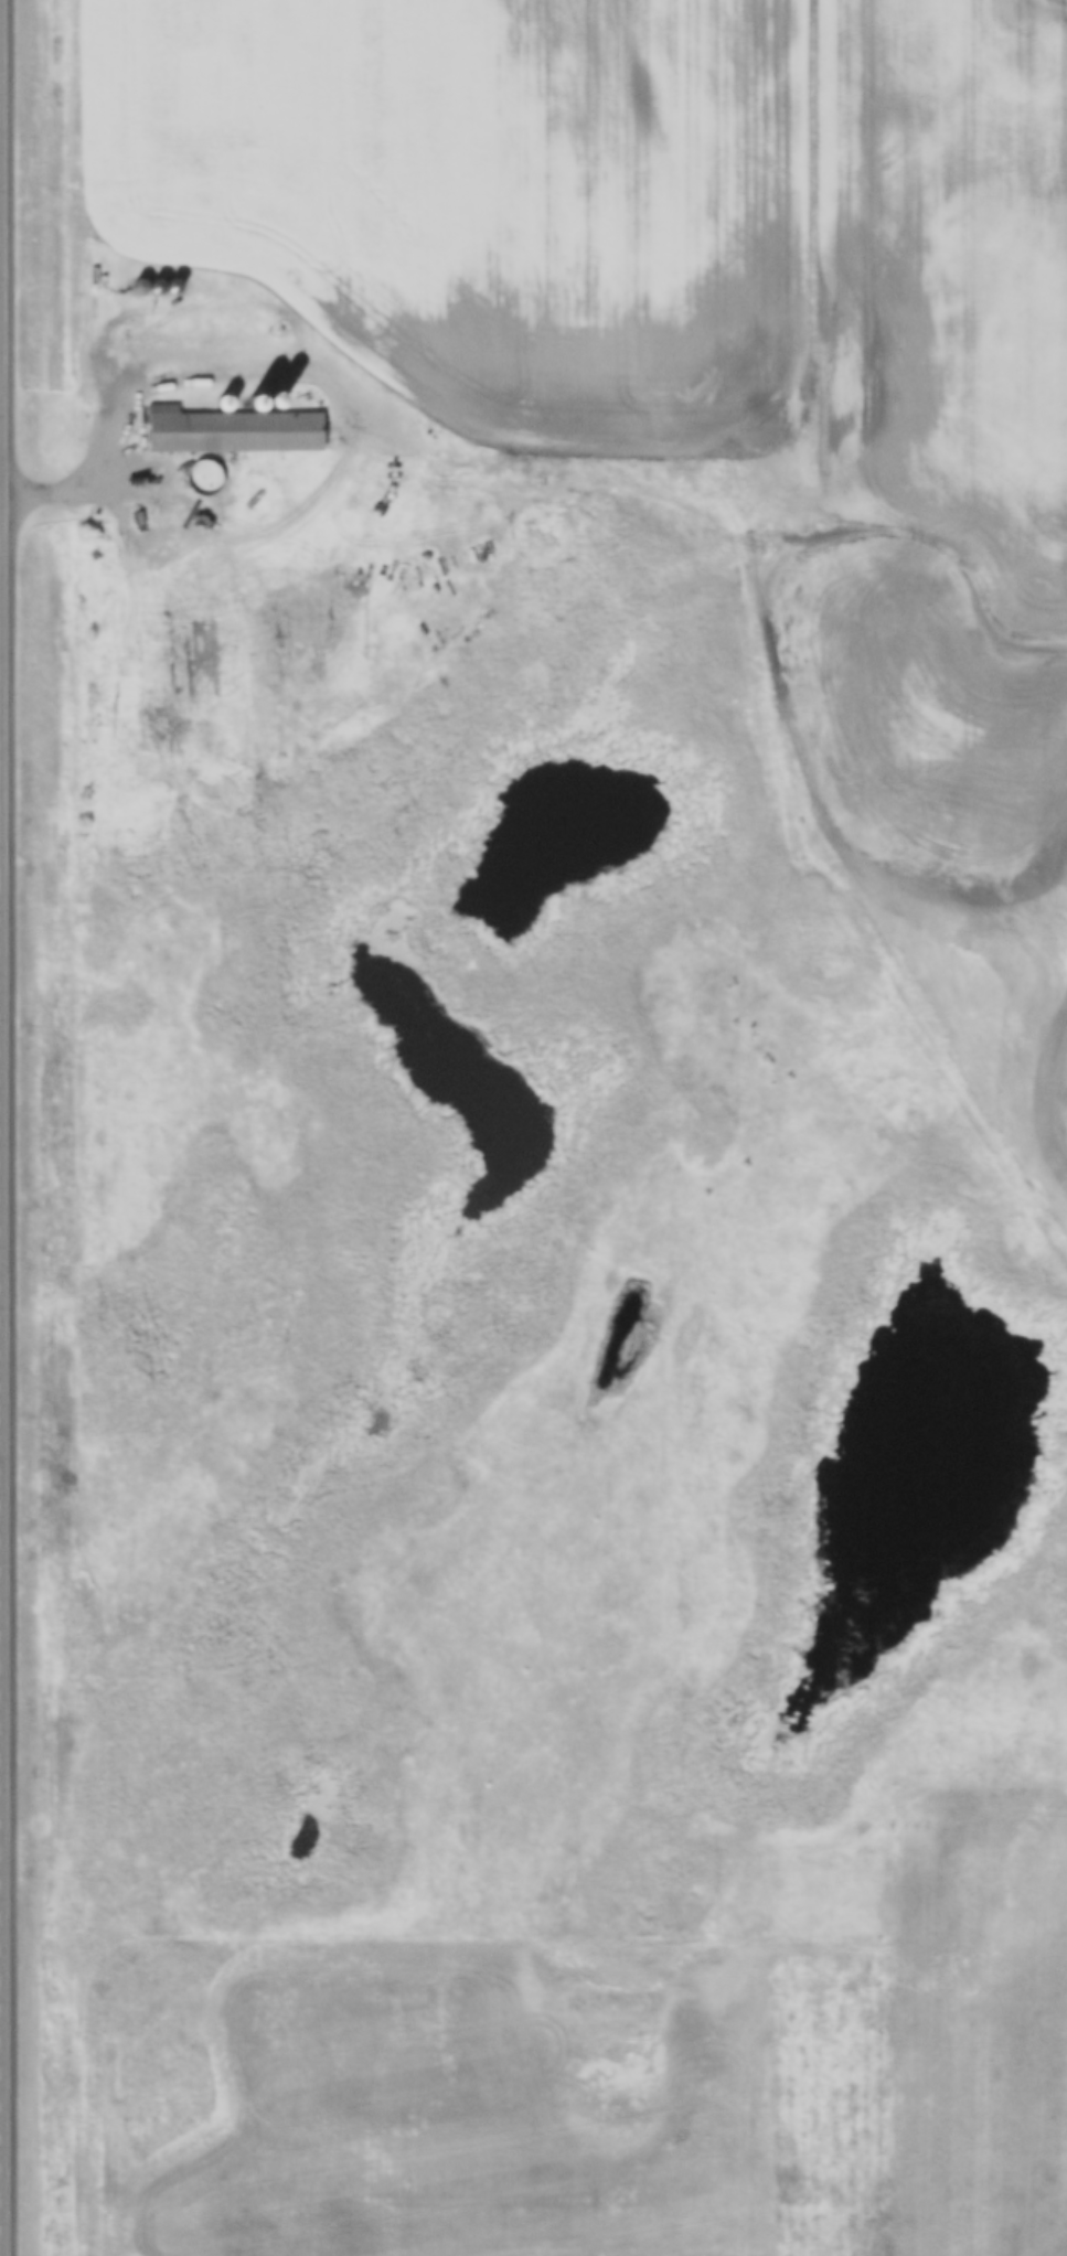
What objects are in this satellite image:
road: (136, 398)
building: (256, 402)
silo: (256, 402)
building: (277, 402)
silo: (277, 402)
building: (226, 404)
silo: (226, 404)
building: (231, 430)

